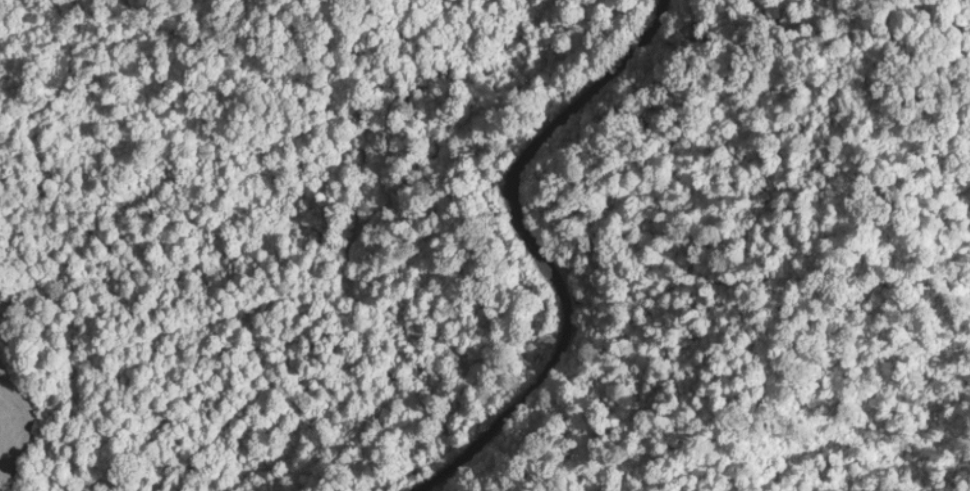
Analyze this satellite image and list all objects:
road: (536, 248)

